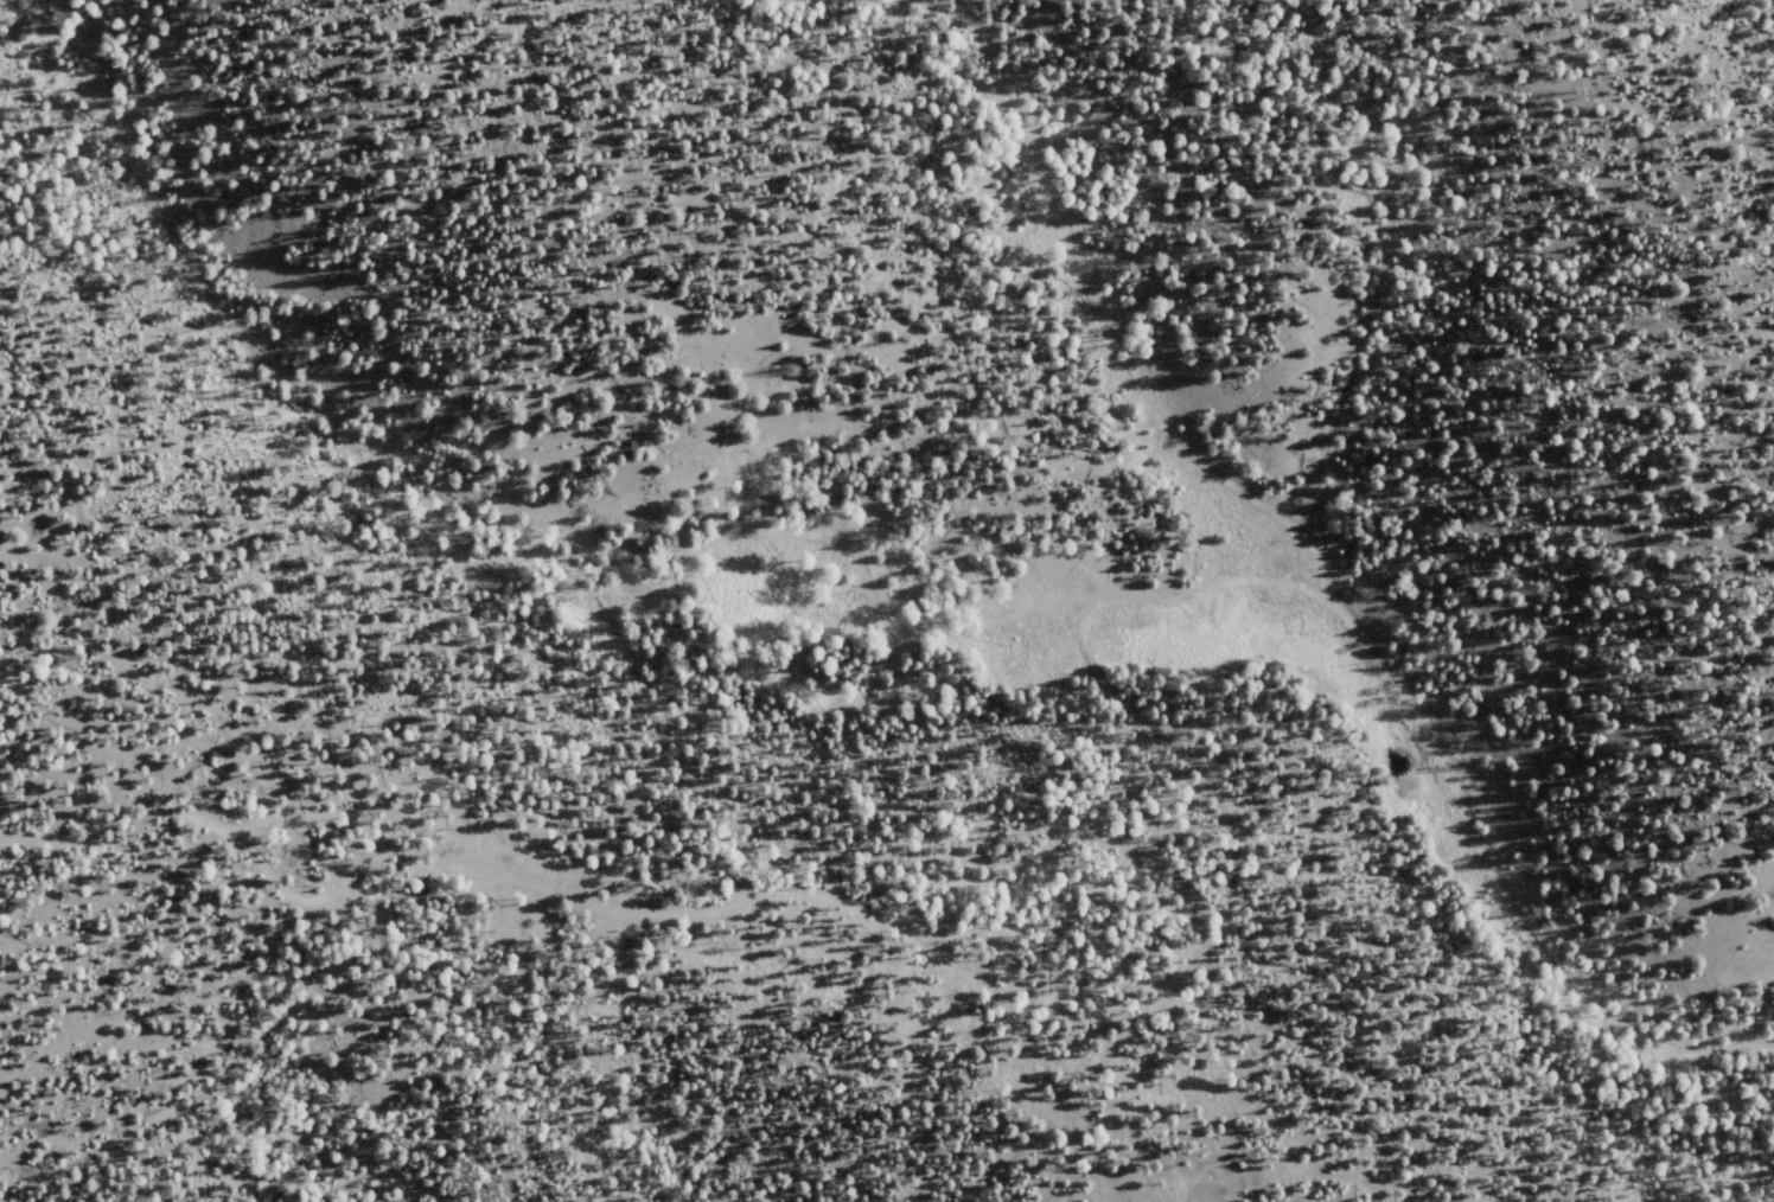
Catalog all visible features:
road: (524, 904)

